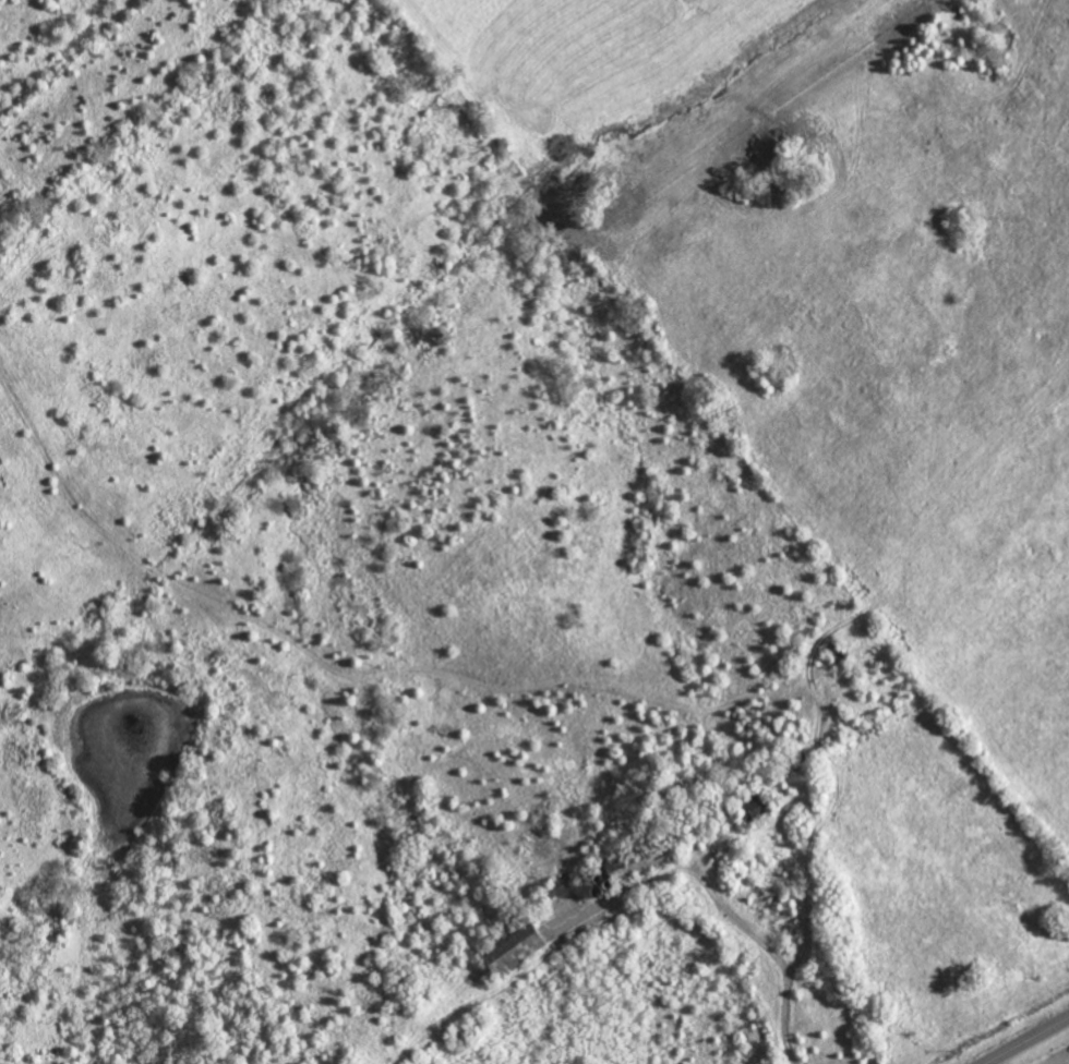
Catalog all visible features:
building: (517, 951)
road: (776, 956)
road: (1025, 1040)

